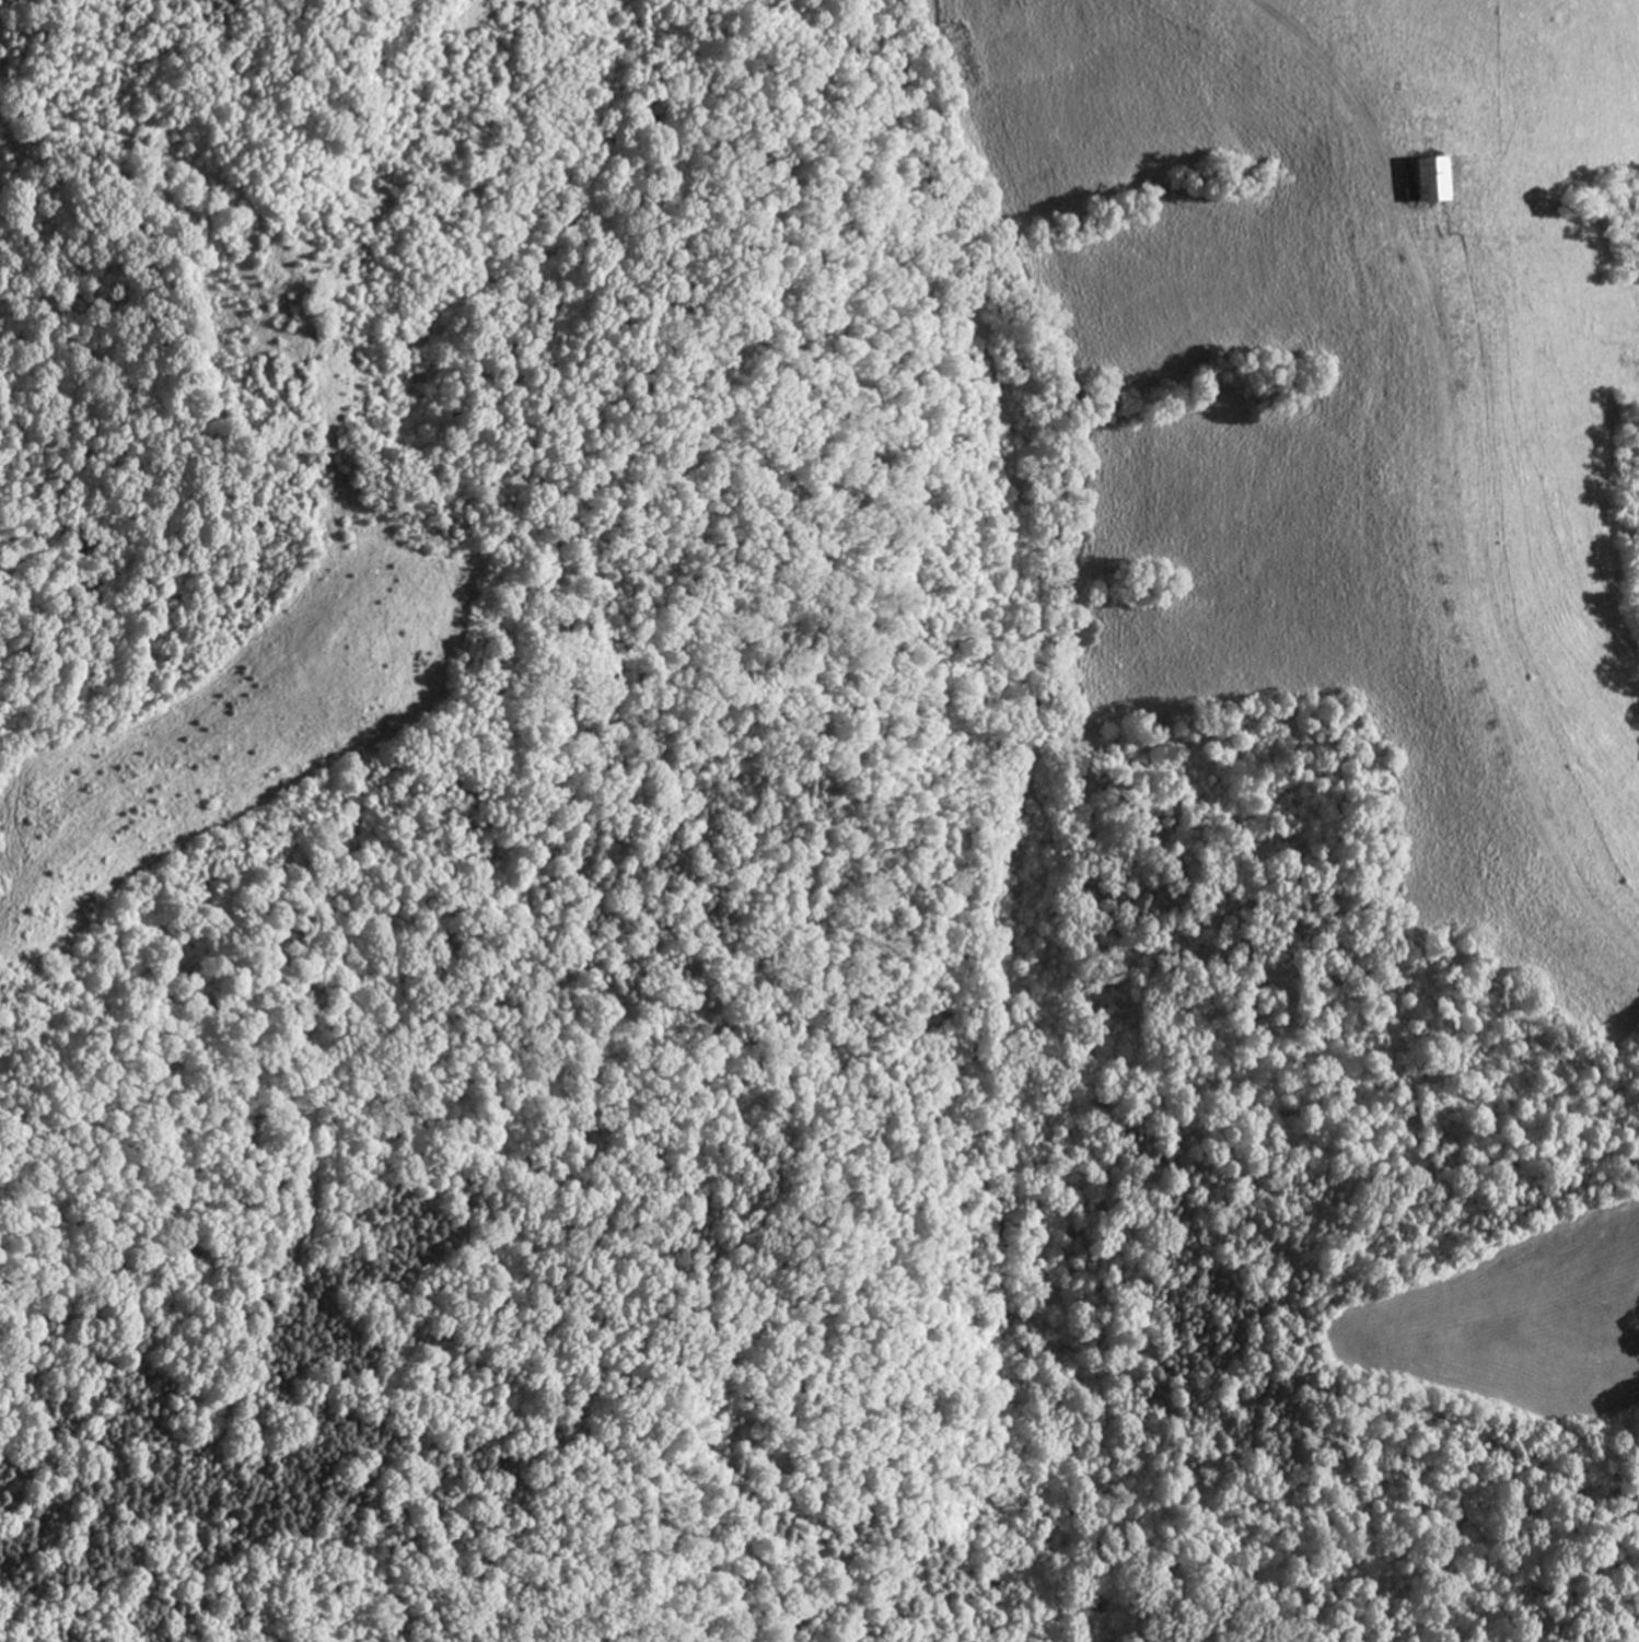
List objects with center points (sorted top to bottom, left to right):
building: (1432, 179)

